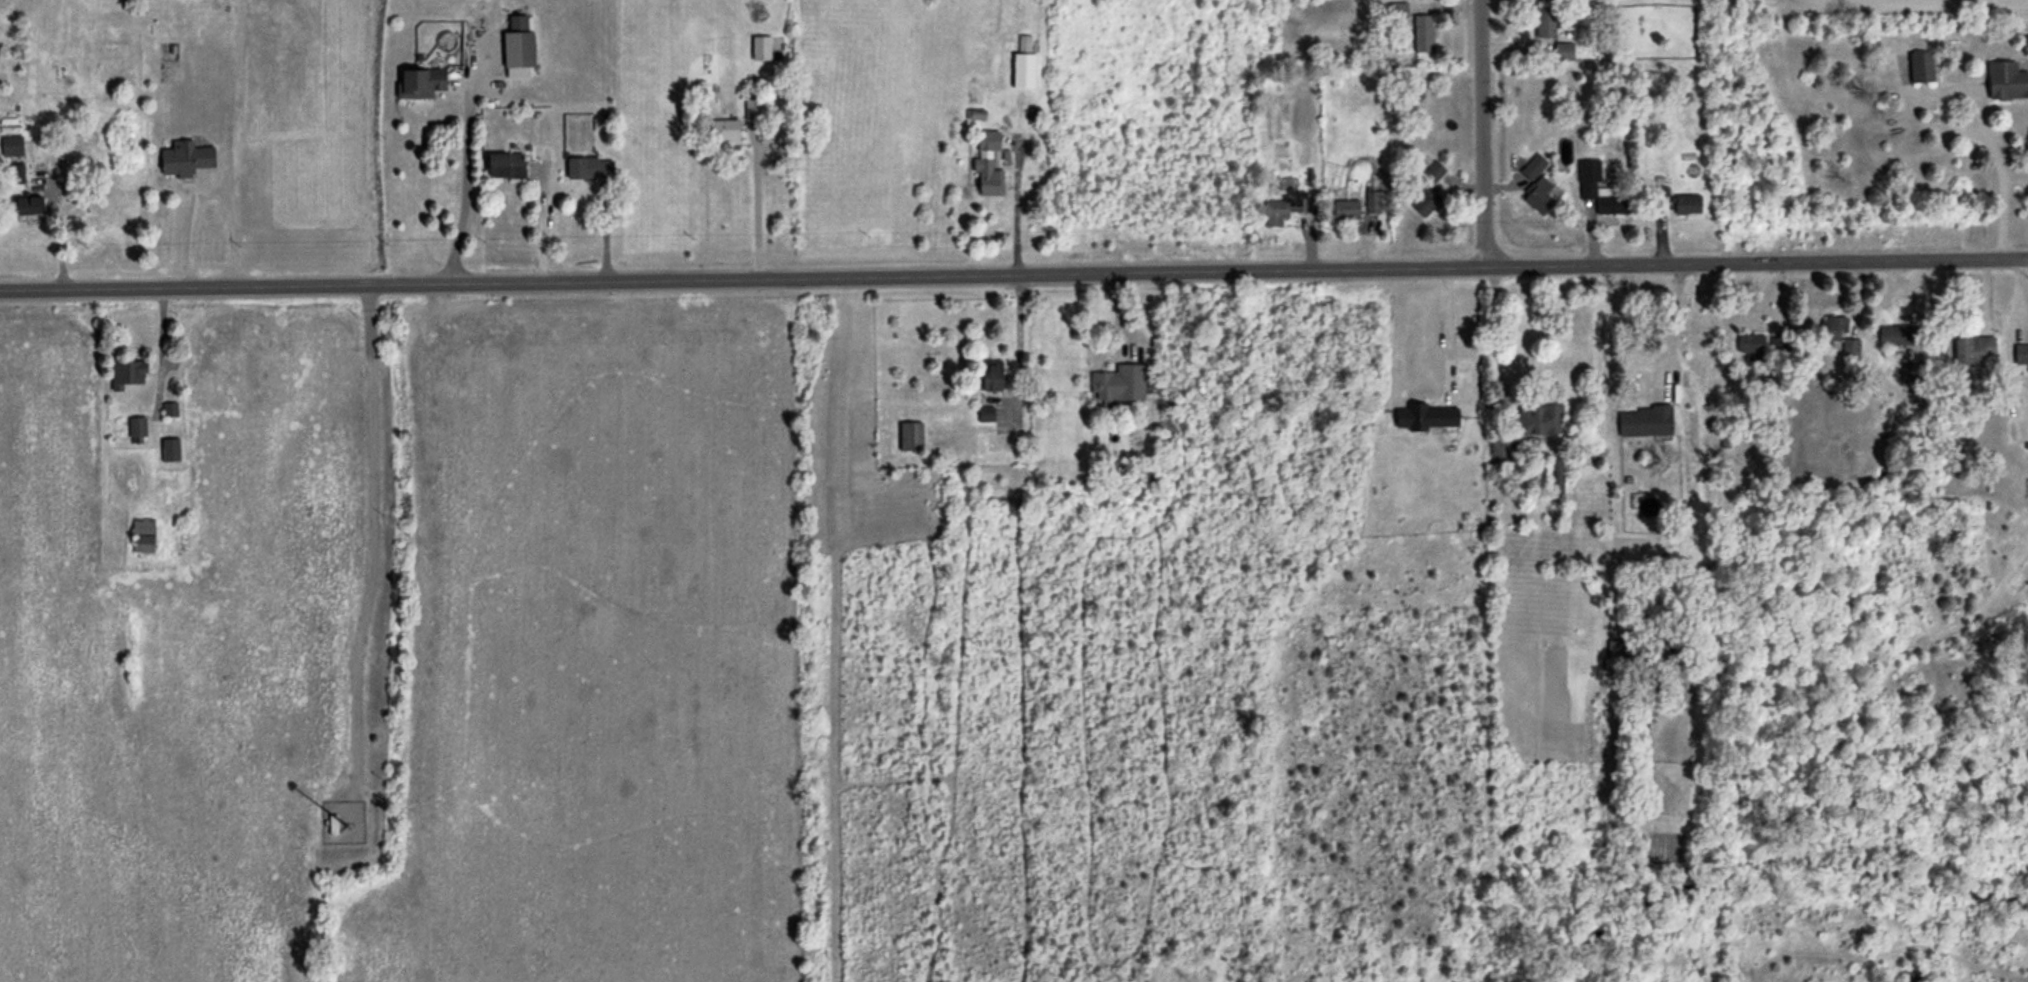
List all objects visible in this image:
building: (1545, 24)
building: (1418, 31)
building: (520, 43)
building: (762, 47)
building: (1564, 52)
building: (1025, 64)
building: (1920, 68)
building: (422, 82)
building: (2006, 82)
building: (754, 109)
building: (724, 130)
road: (1482, 134)
road: (1971, 134)
building: (13, 145)
building: (186, 158)
building: (989, 163)
building: (506, 164)
building: (1536, 165)
building: (589, 167)
road: (465, 187)
road: (210, 191)
building: (1602, 191)
building: (1539, 200)
building: (1687, 205)
road: (755, 207)
road: (1016, 209)
road: (53, 227)
road: (1014, 275)
road: (1448, 330)
road: (1675, 331)
building: (1897, 336)
road: (1018, 337)
road: (1494, 337)
building: (1840, 339)
building: (1751, 345)
road: (159, 347)
building: (1973, 351)
building: (2021, 355)
building: (128, 373)
building: (993, 375)
building: (1120, 382)
building: (987, 413)
building: (1419, 416)
building: (1540, 420)
building: (1644, 423)
building: (911, 434)
building: (1556, 477)
building: (1915, 977)

